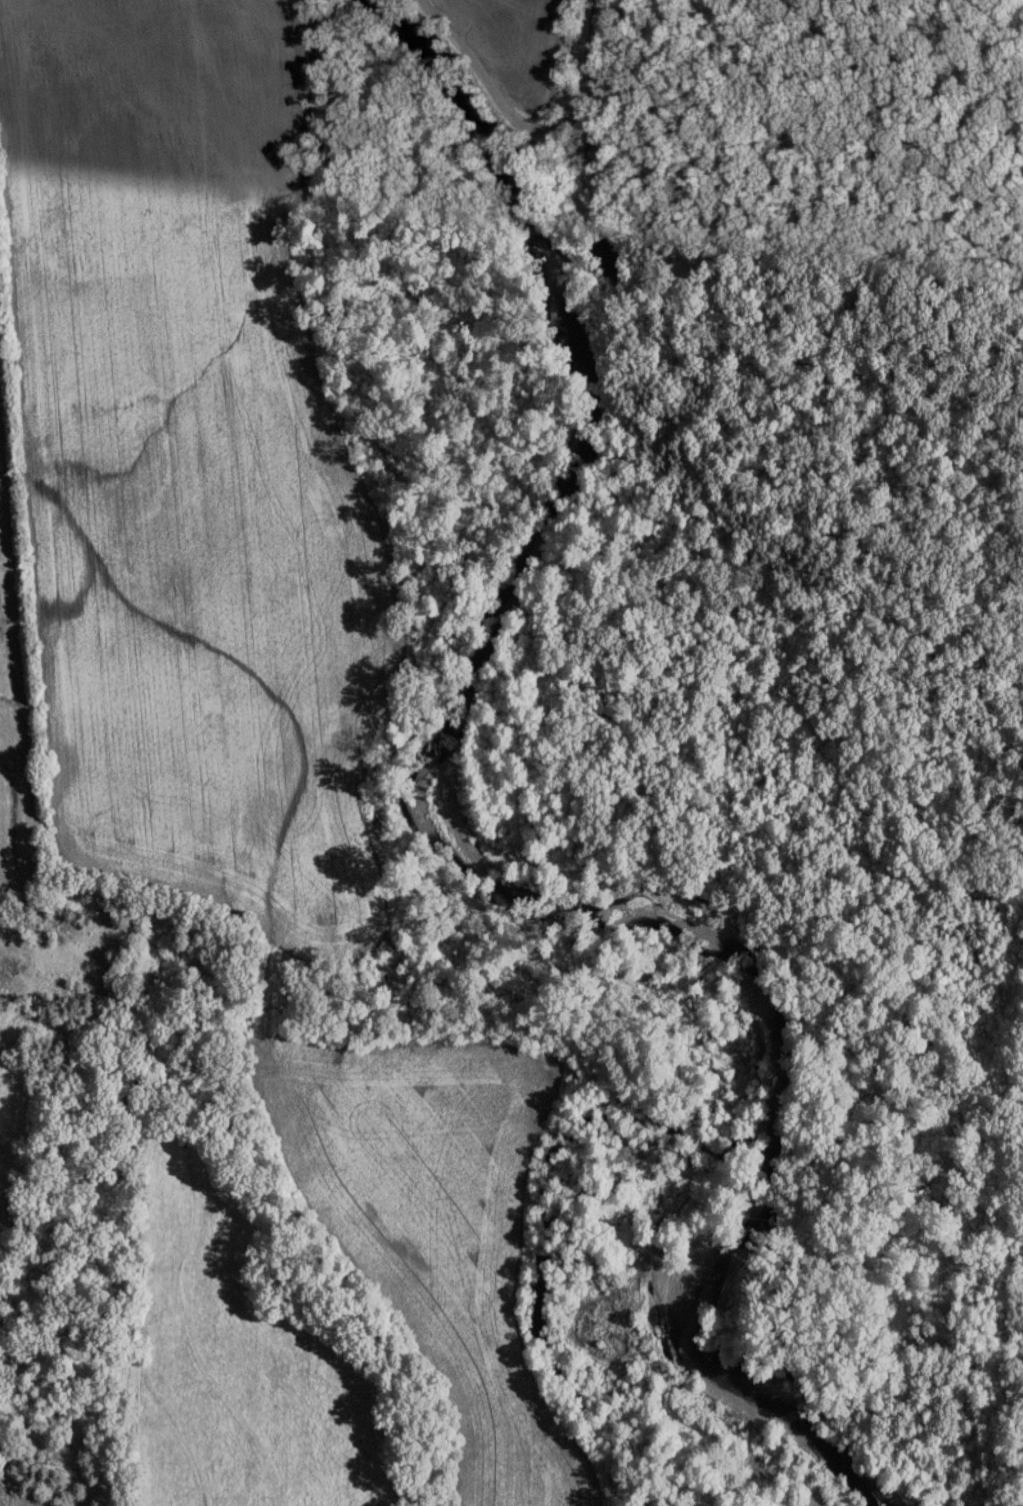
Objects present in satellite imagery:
road: (534, 58)

